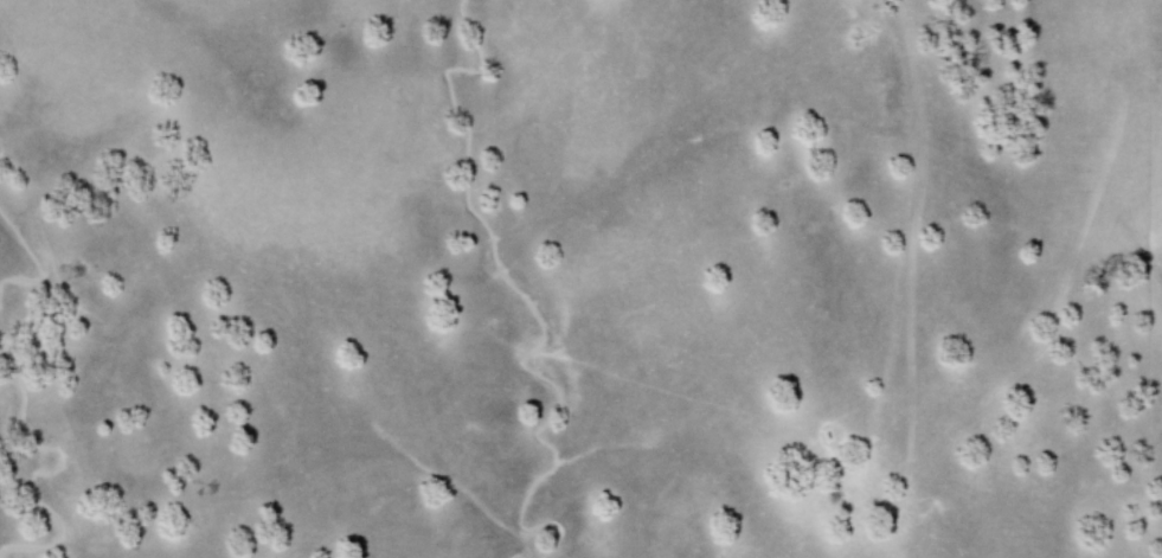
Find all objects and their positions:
road: (909, 278)

